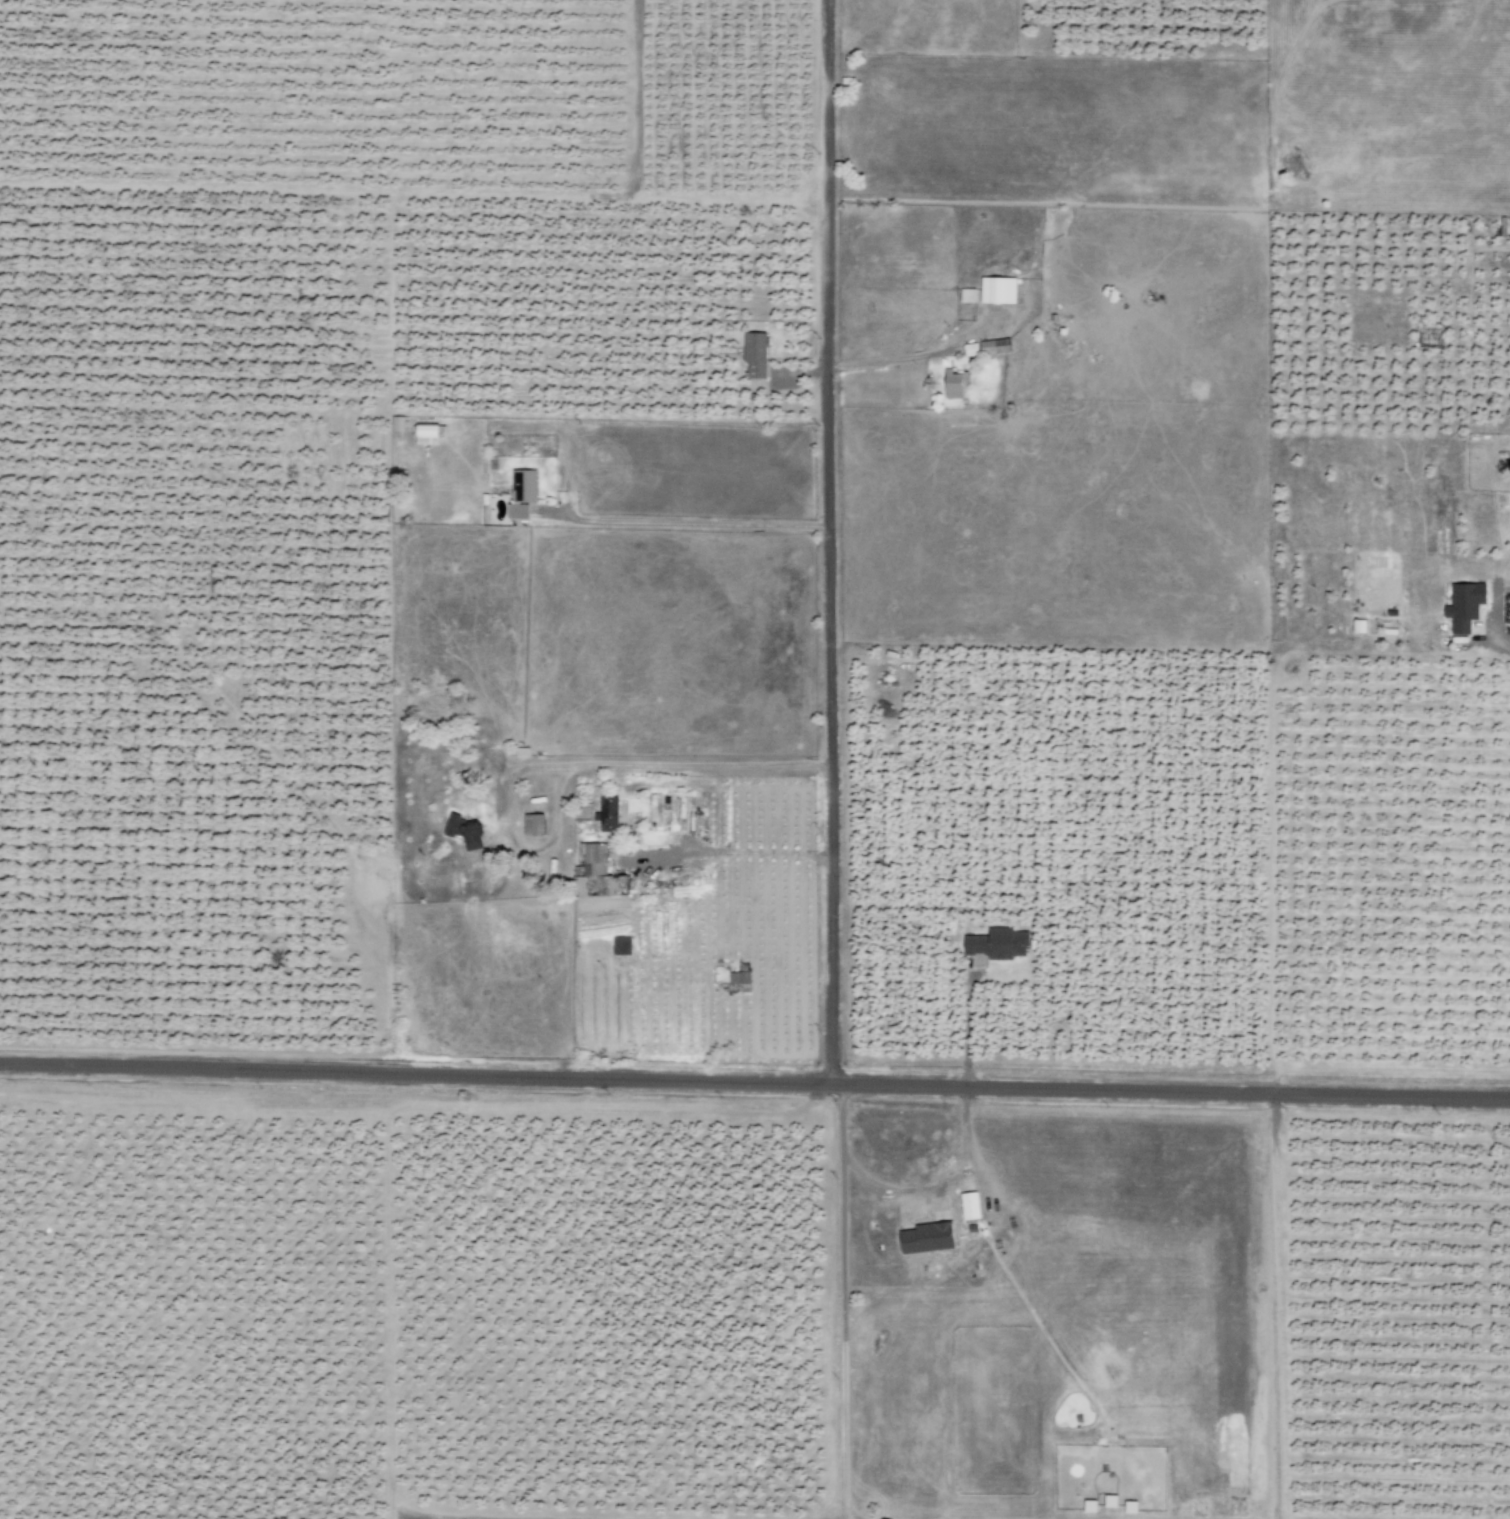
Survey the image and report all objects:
building: (997, 290)
building: (966, 296)
building: (994, 346)
building: (970, 349)
building: (754, 356)
building: (953, 384)
building: (396, 423)
building: (524, 486)
building: (516, 512)
road: (683, 522)
road: (827, 542)
building: (1464, 606)
road: (1501, 645)
building: (608, 814)
building: (532, 825)
building: (464, 831)
road: (727, 852)
building: (597, 871)
building: (997, 944)
building: (621, 946)
building: (740, 979)
road: (754, 1084)
road: (408, 1108)
building: (968, 1206)
building: (926, 1238)
road: (1280, 1306)

